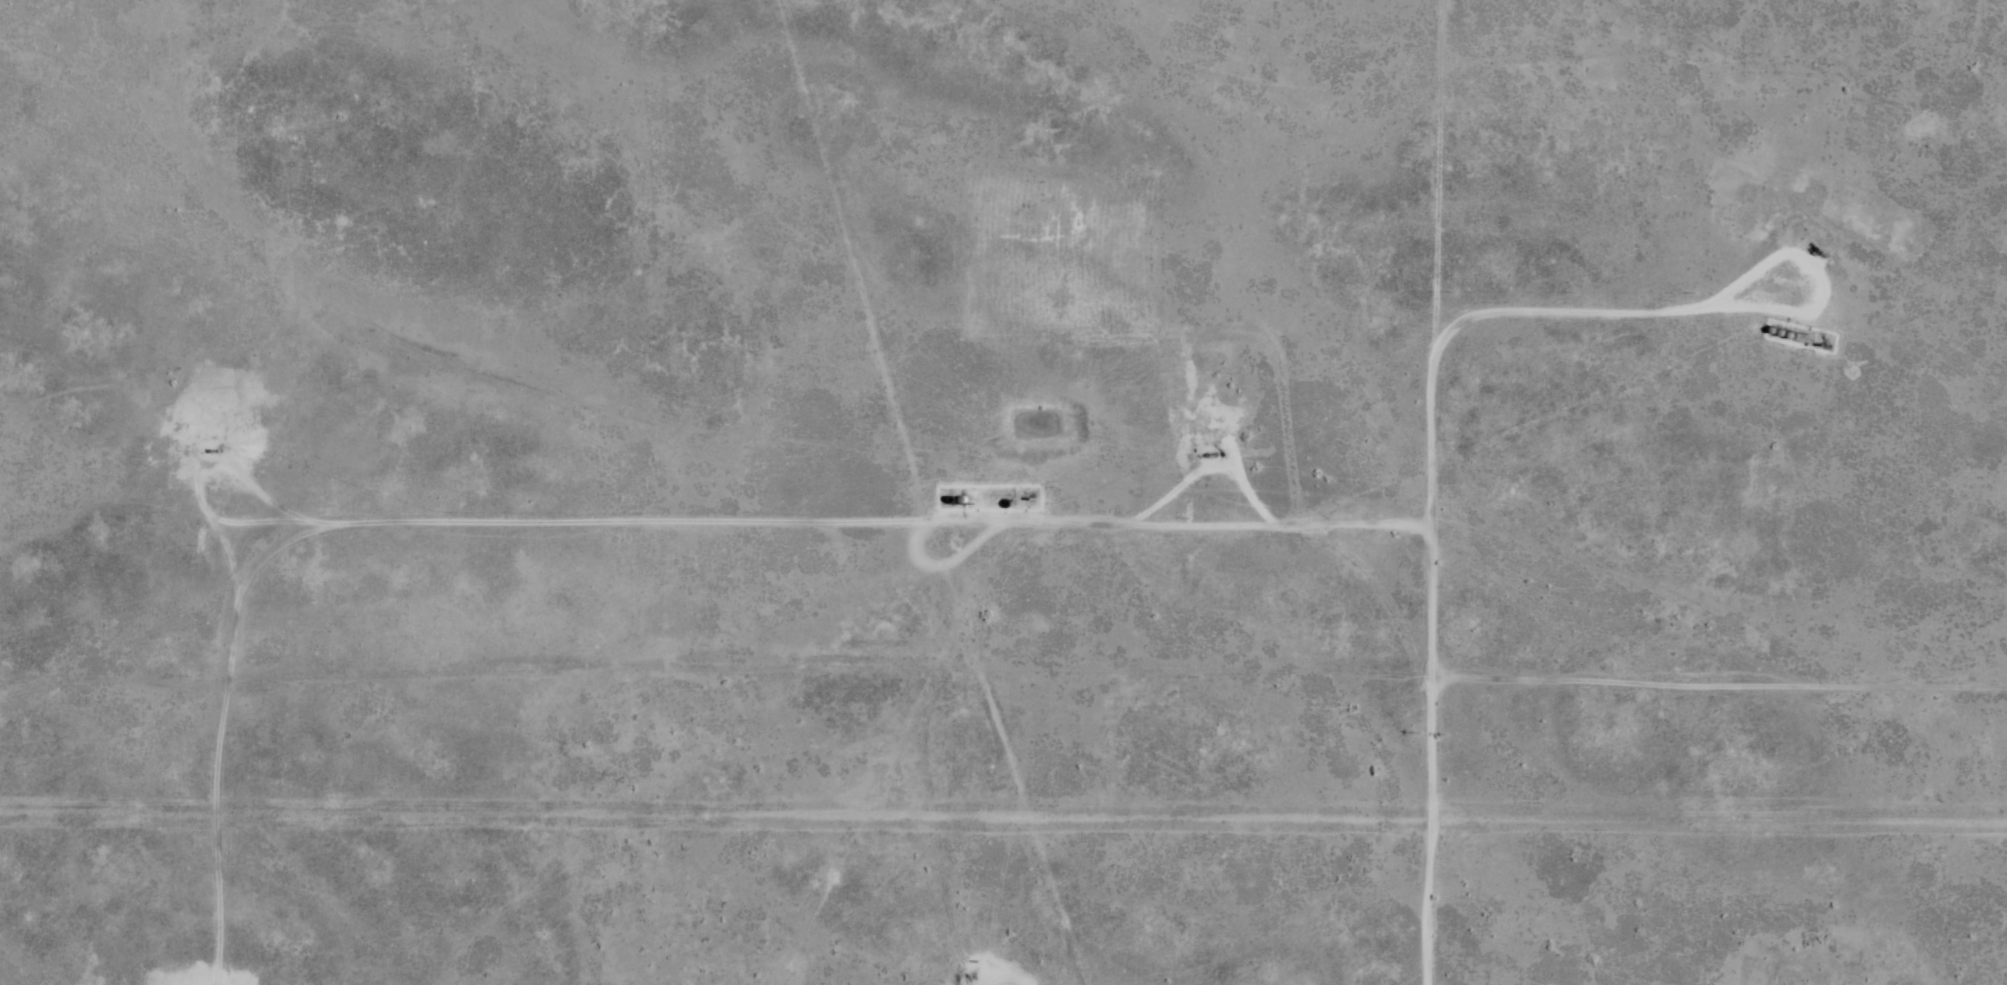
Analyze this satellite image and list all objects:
road: (1388, 492)
road: (802, 509)
road: (692, 655)

